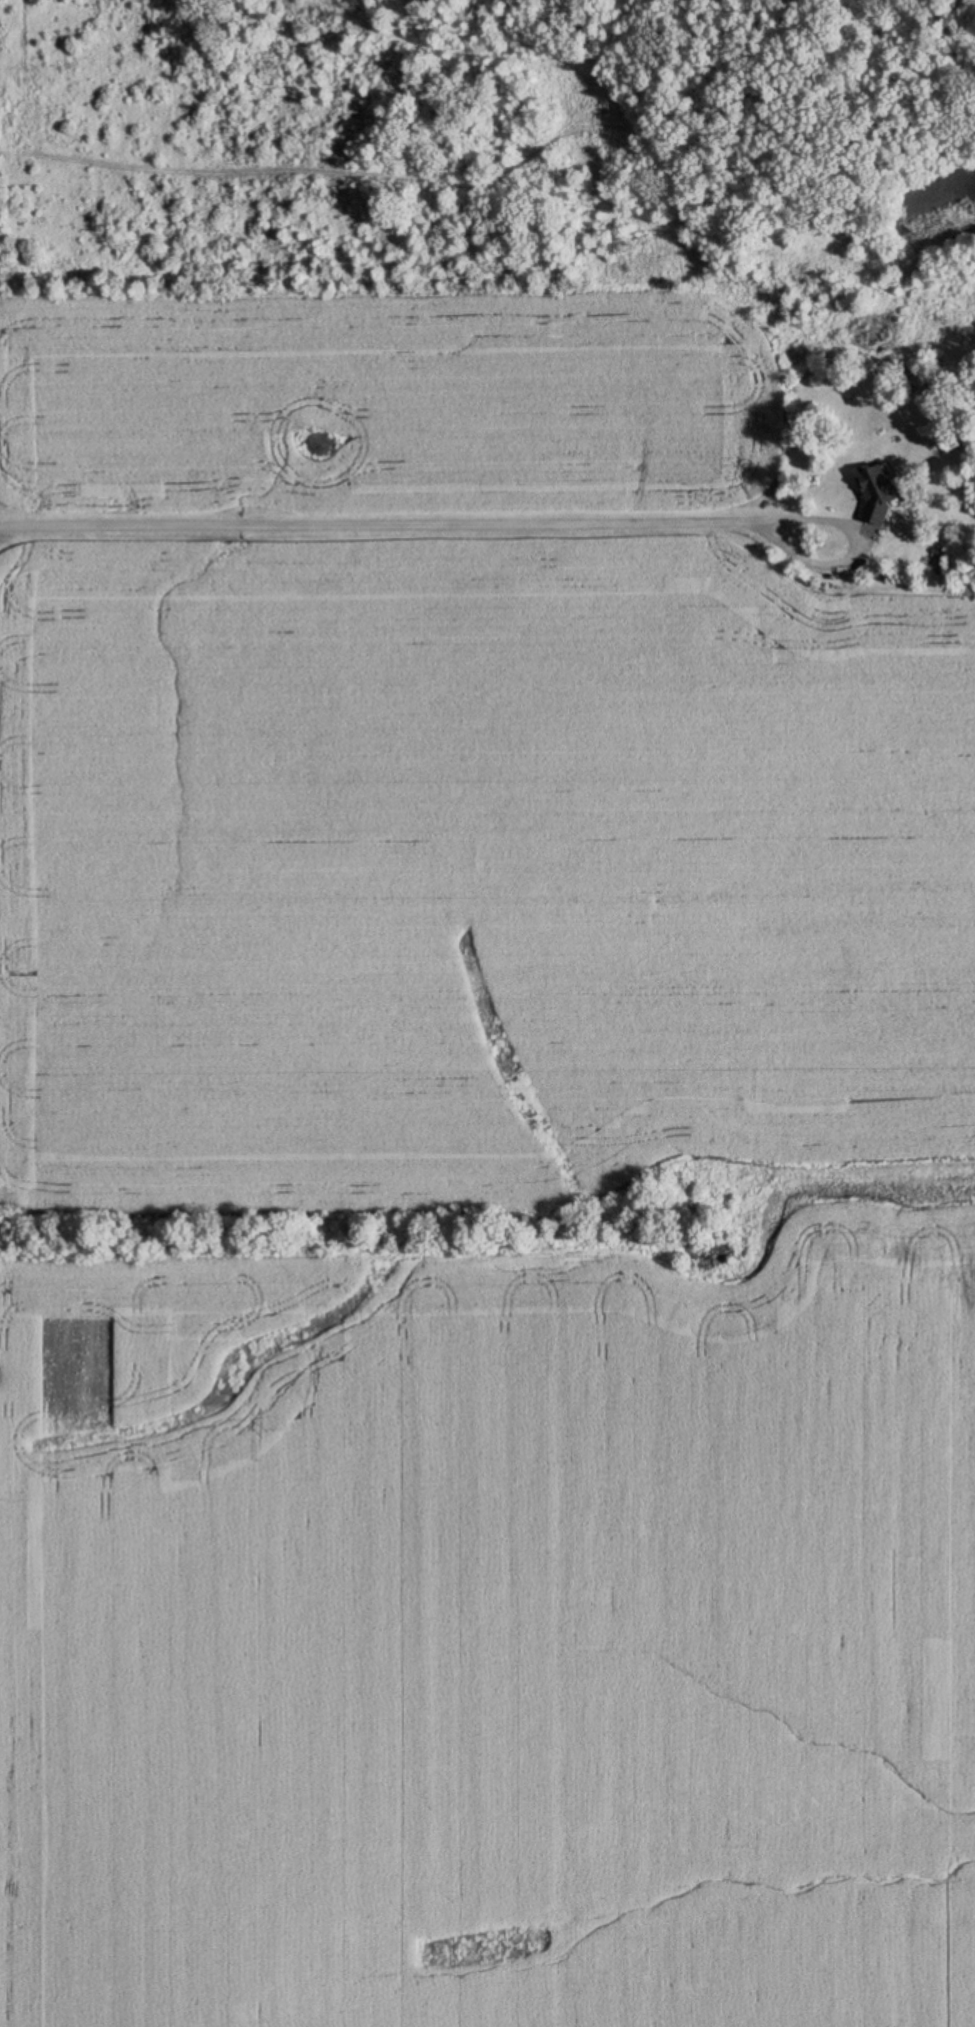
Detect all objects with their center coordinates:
building: (876, 492)

